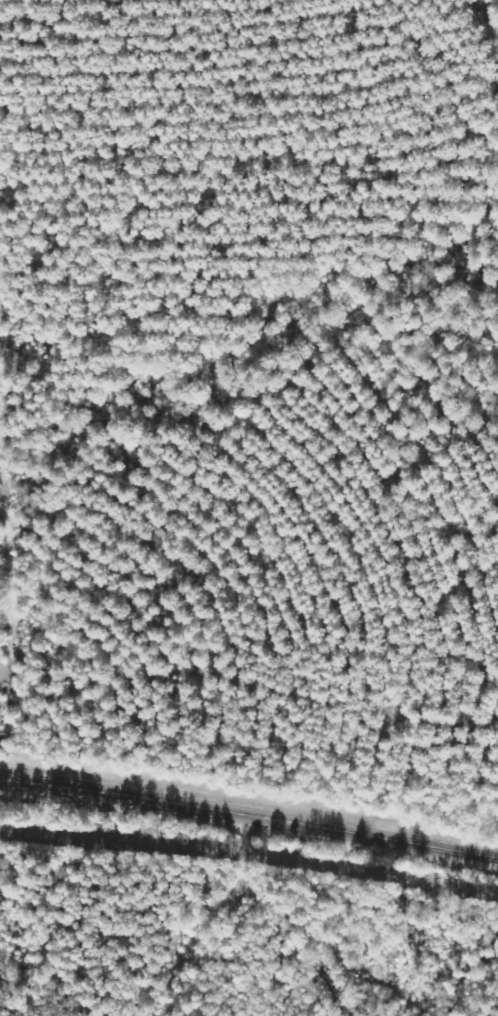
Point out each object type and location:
road: (249, 817)

